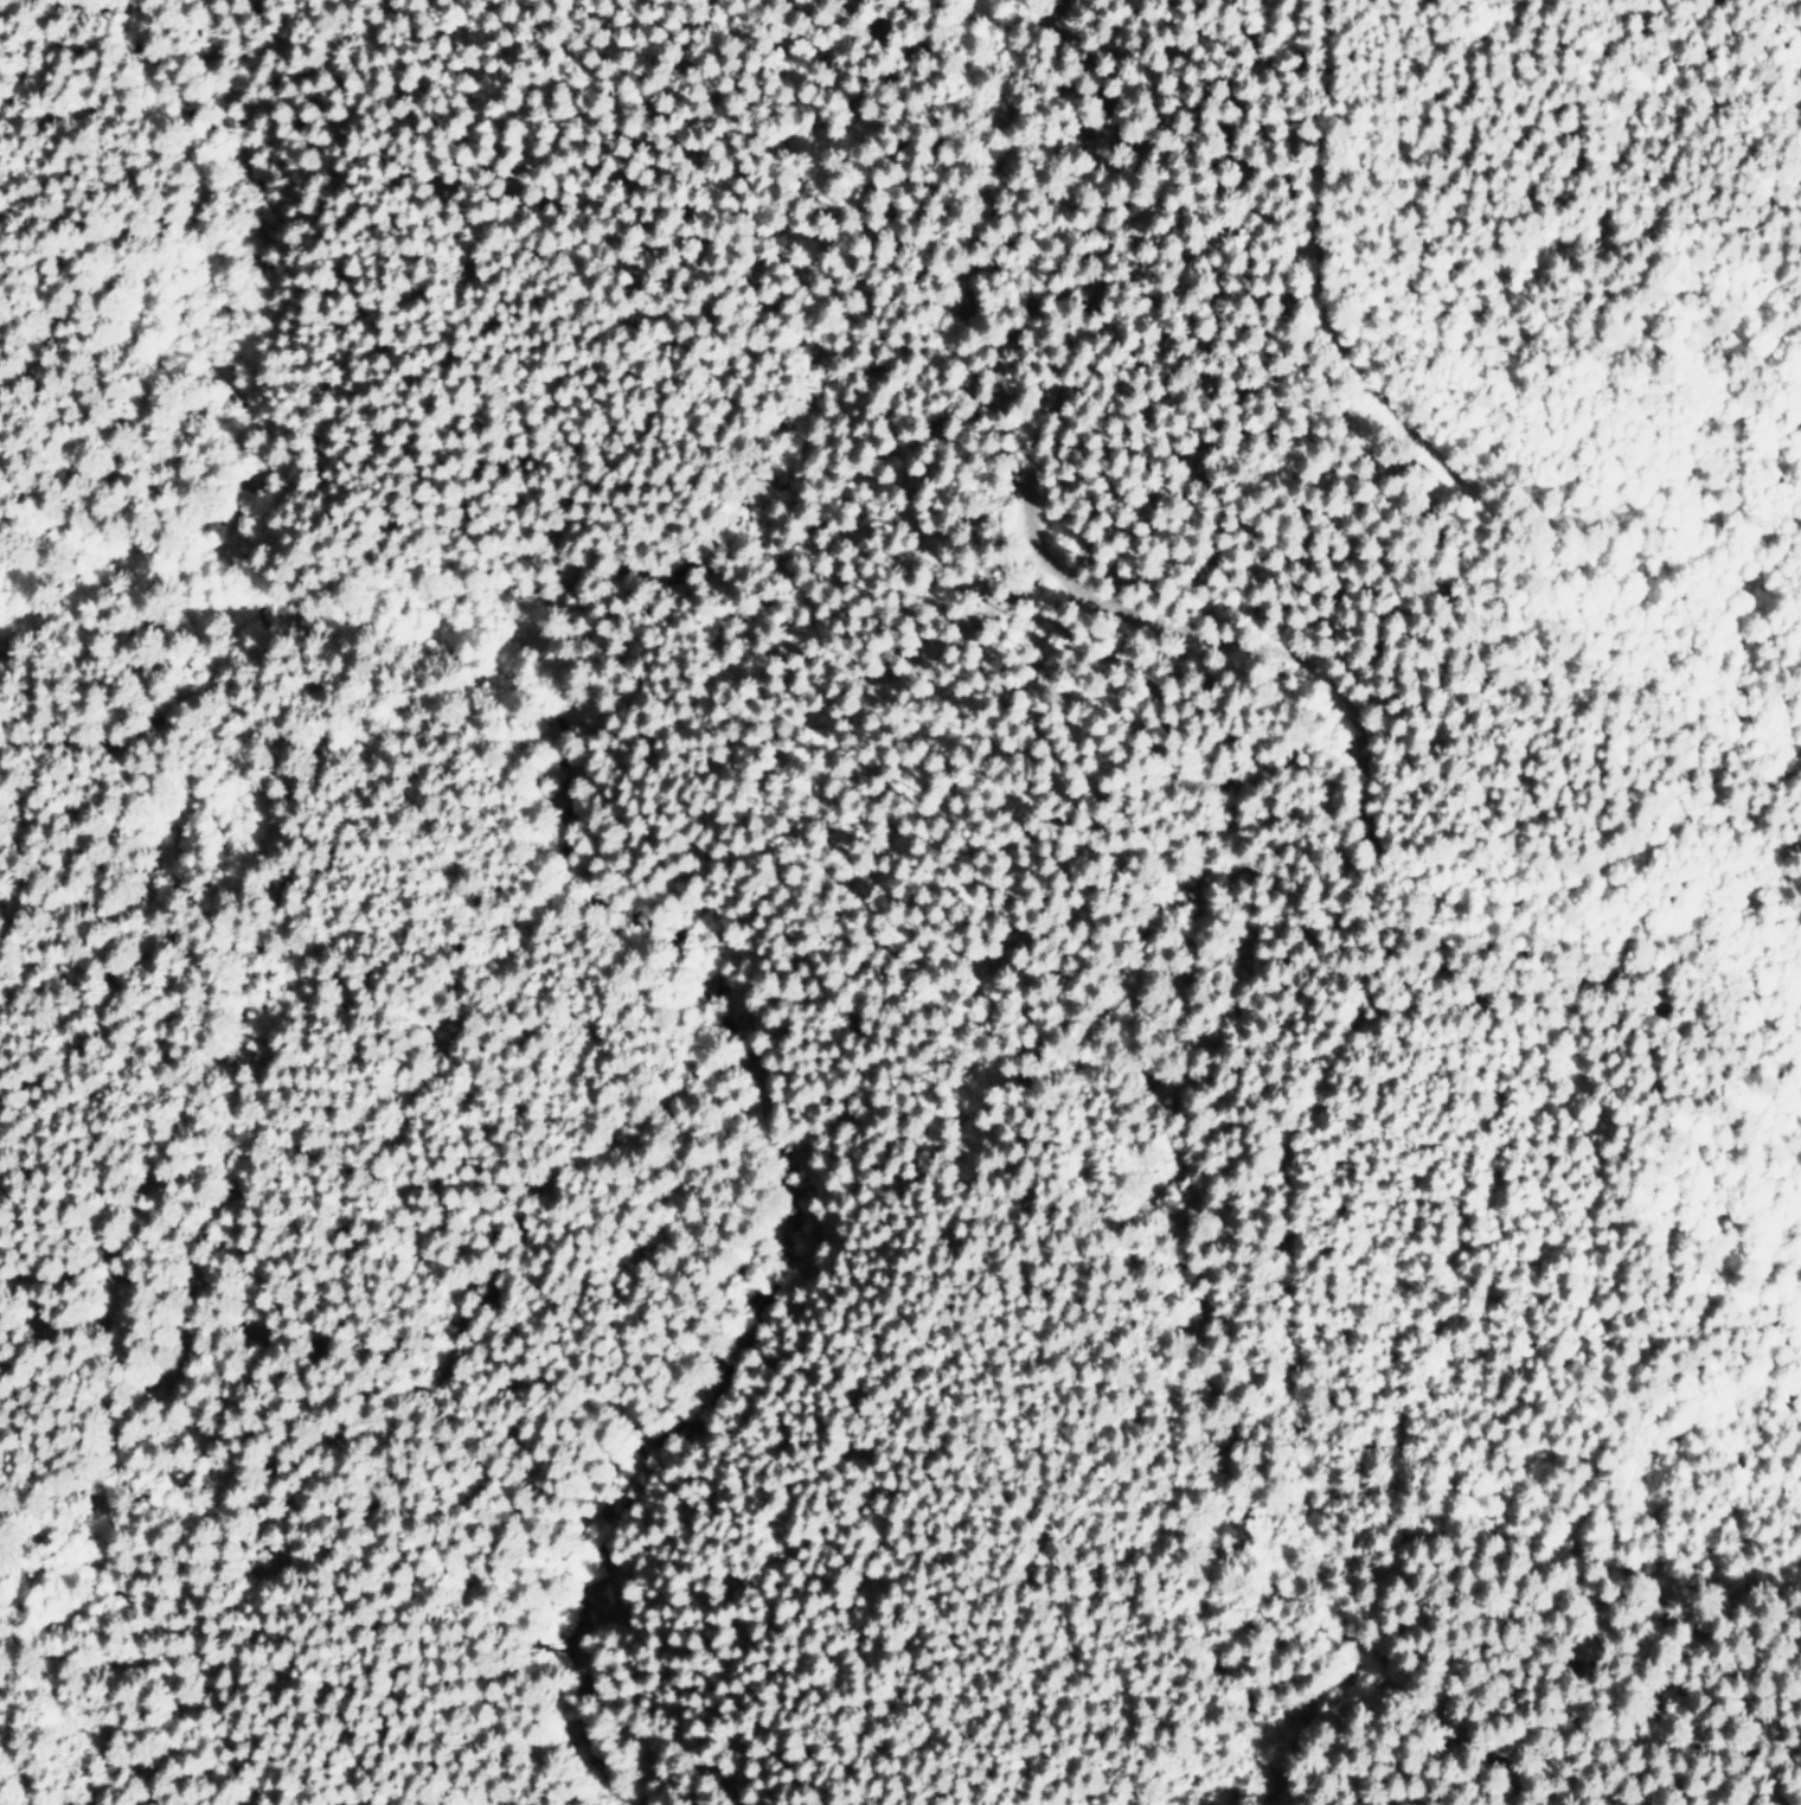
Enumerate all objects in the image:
road: (1002, 13)
road: (1315, 288)
road: (1014, 471)

